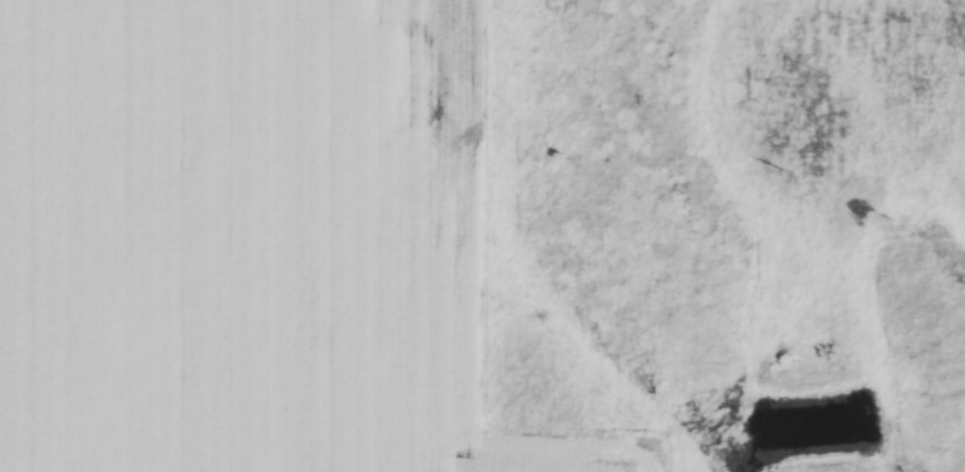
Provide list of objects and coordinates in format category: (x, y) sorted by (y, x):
power tower: (785, 171)

